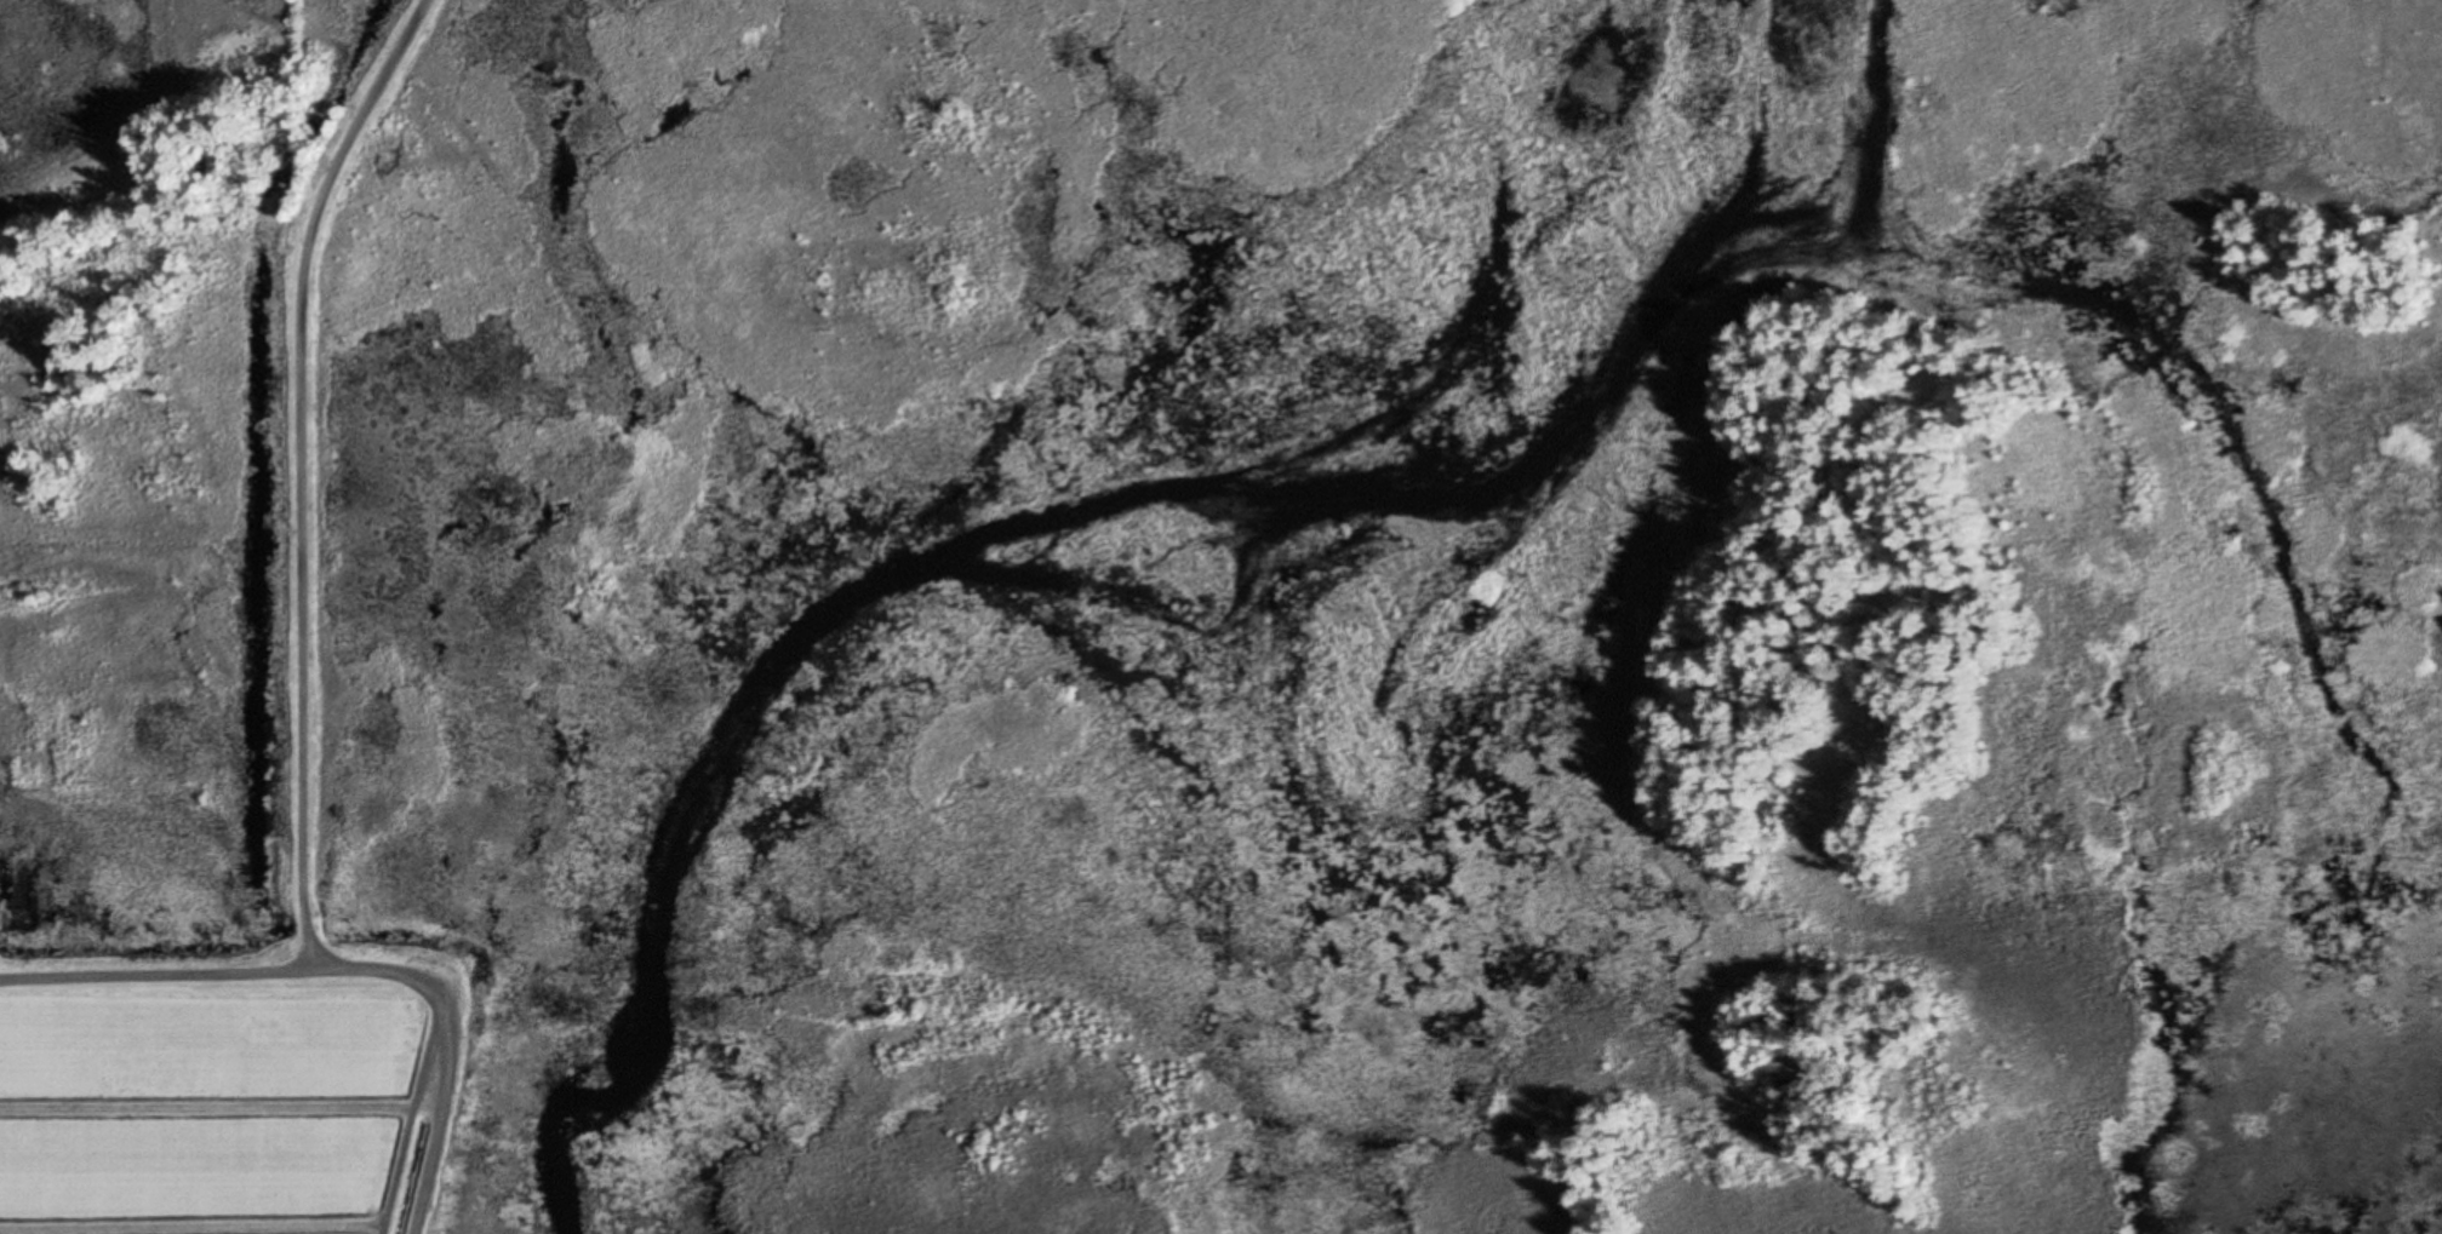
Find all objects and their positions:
river: (1121, 654)
crop: (227, 1092)

